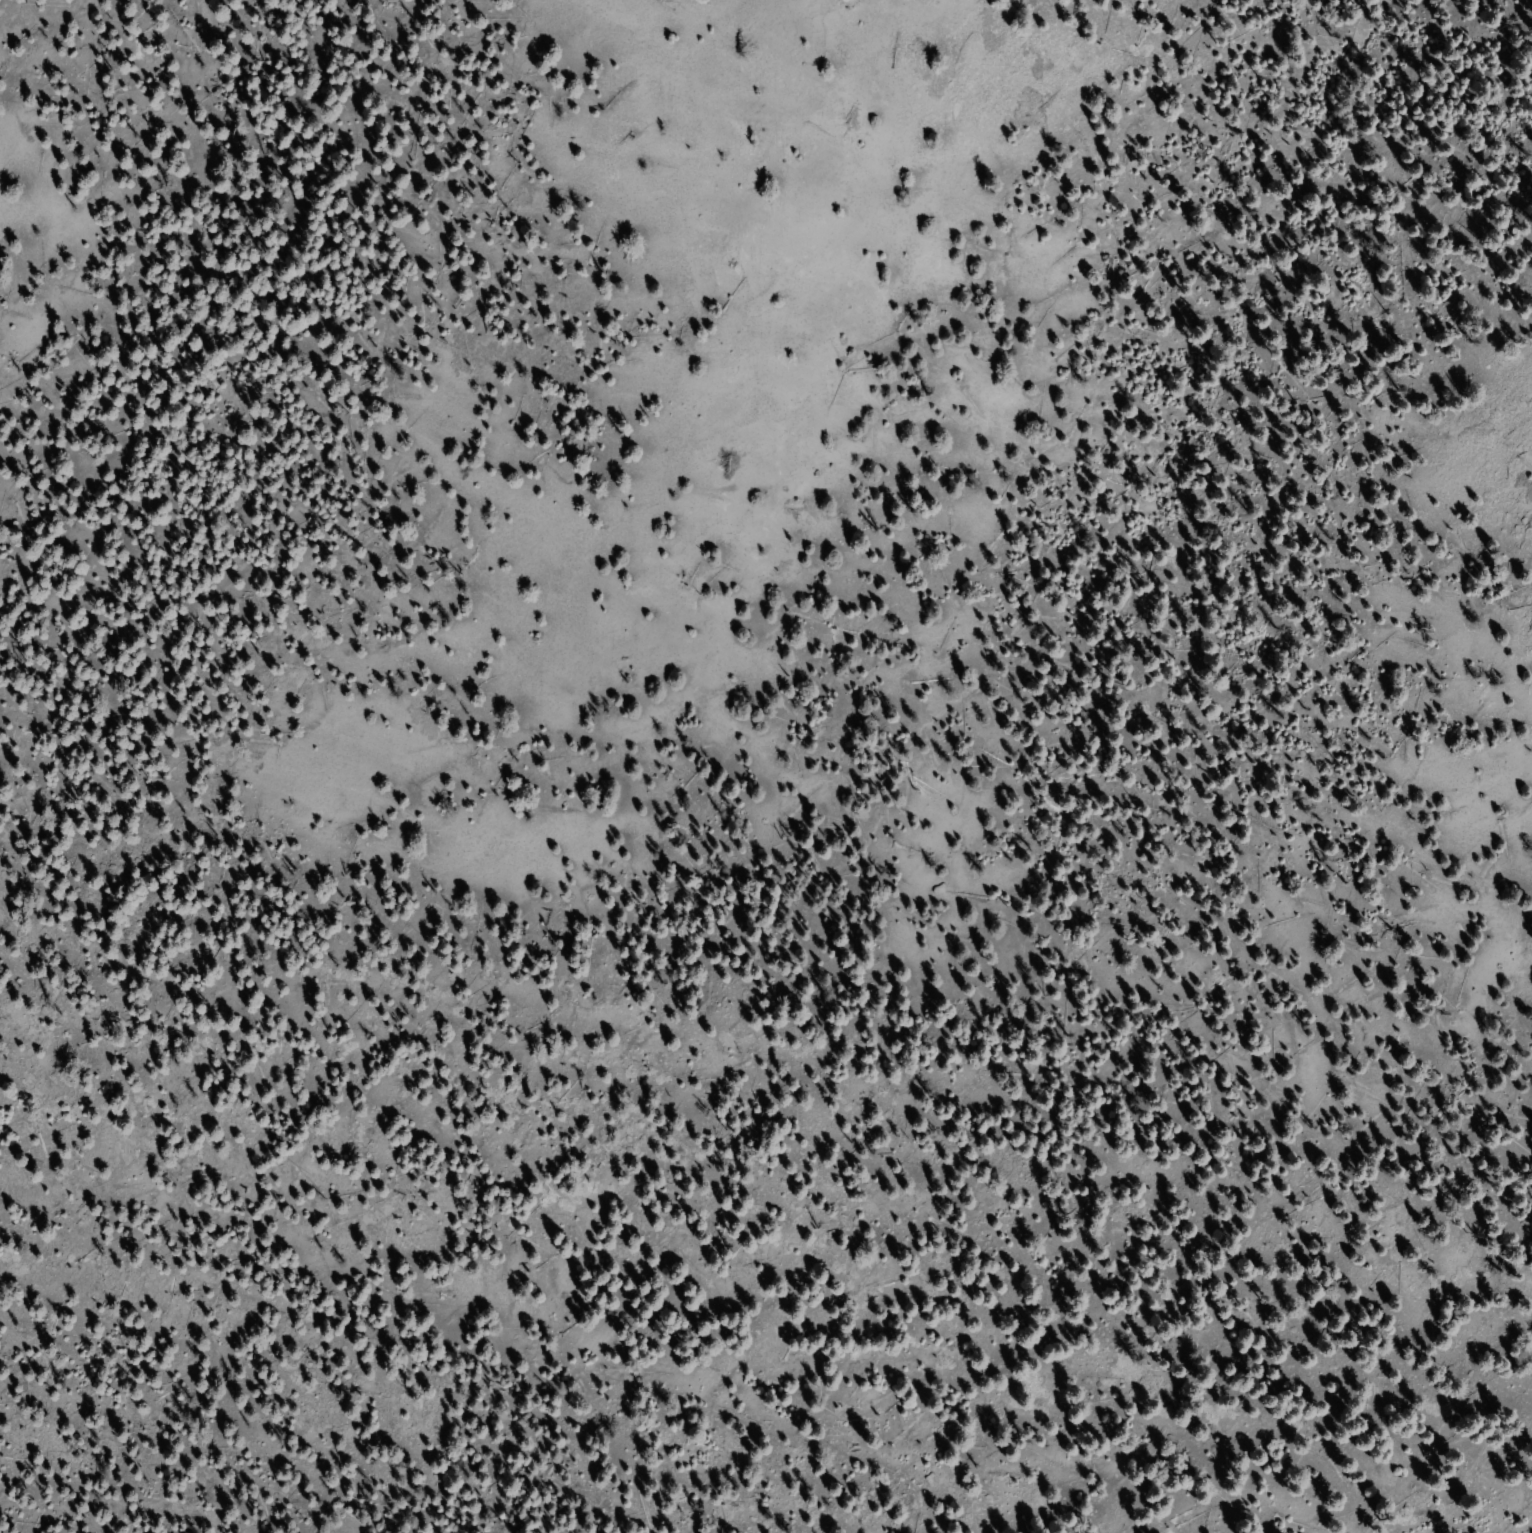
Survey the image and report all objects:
road: (197, 1520)

